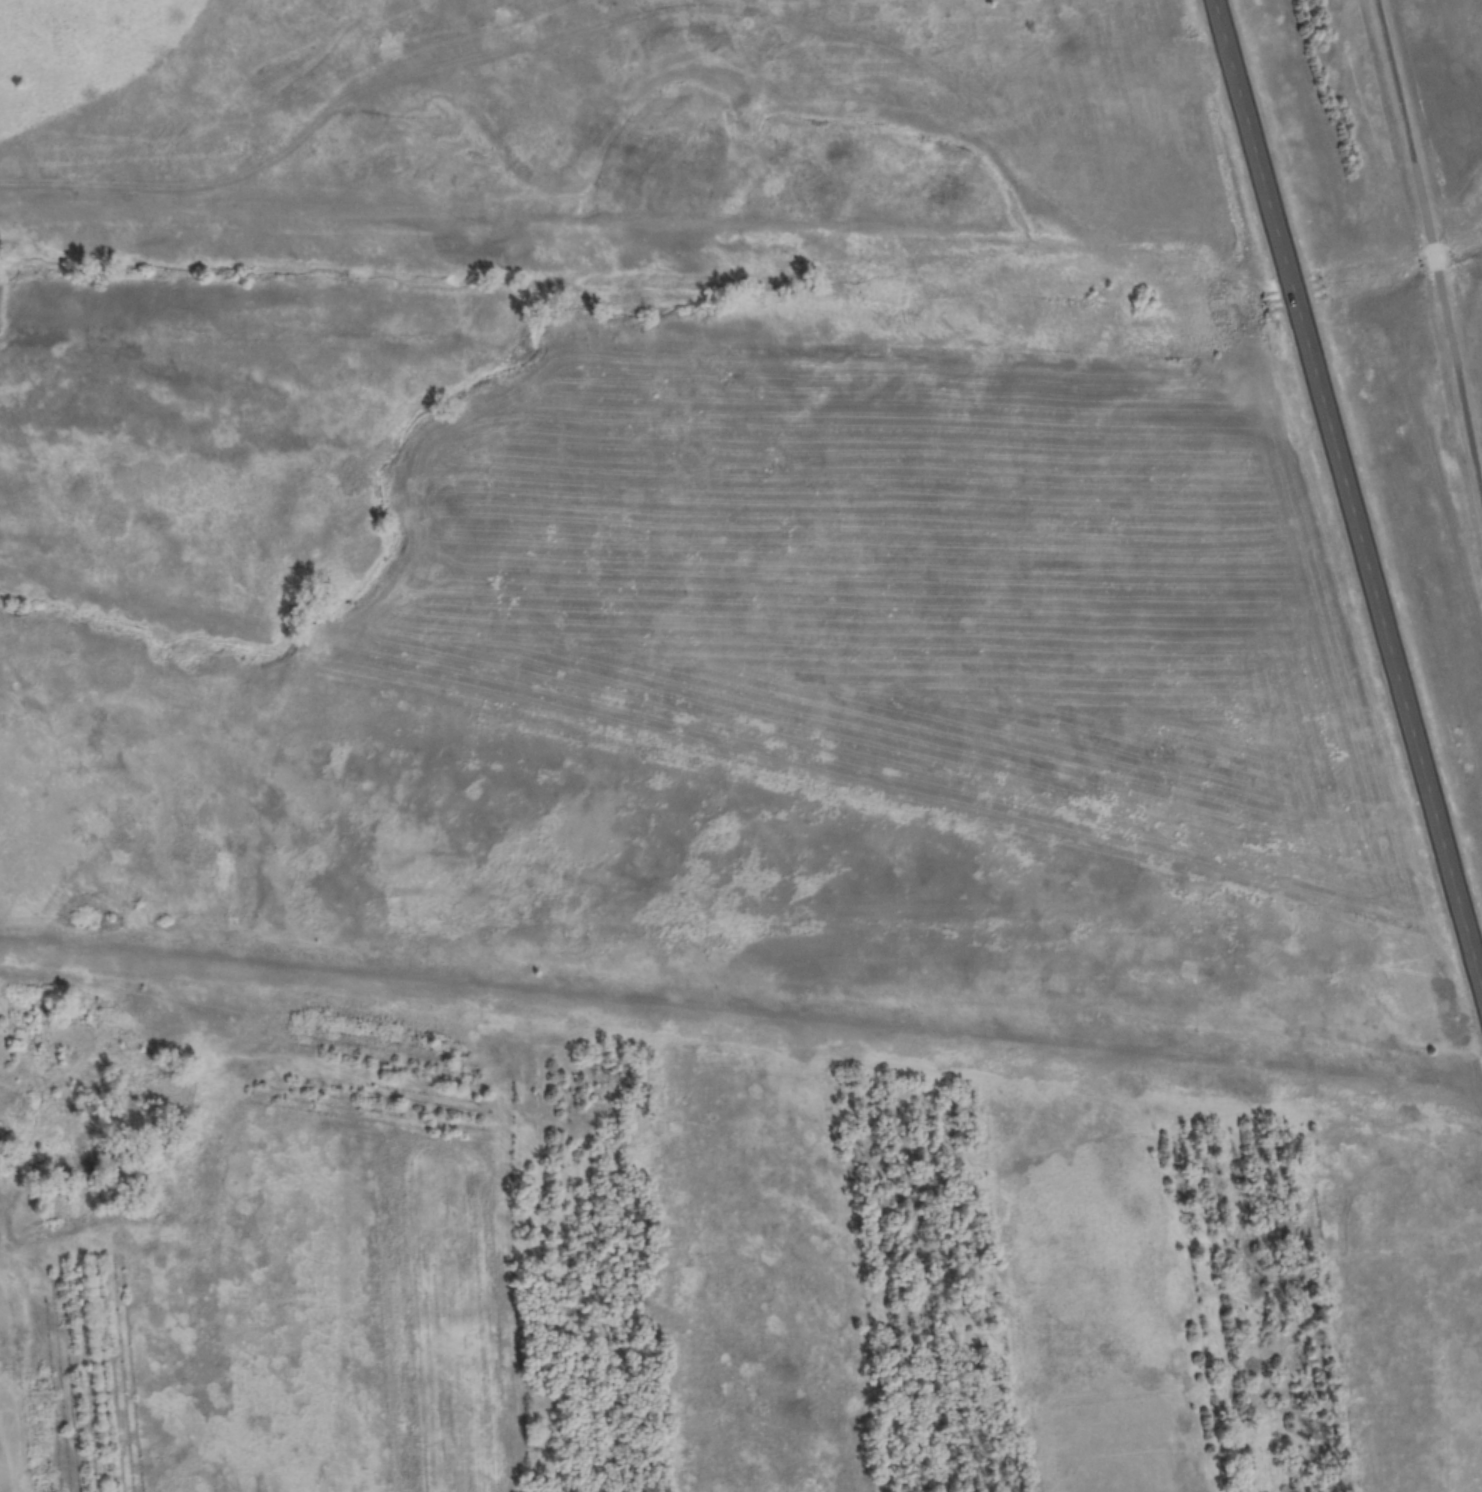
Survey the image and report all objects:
road: (1434, 249)
road: (1347, 498)

